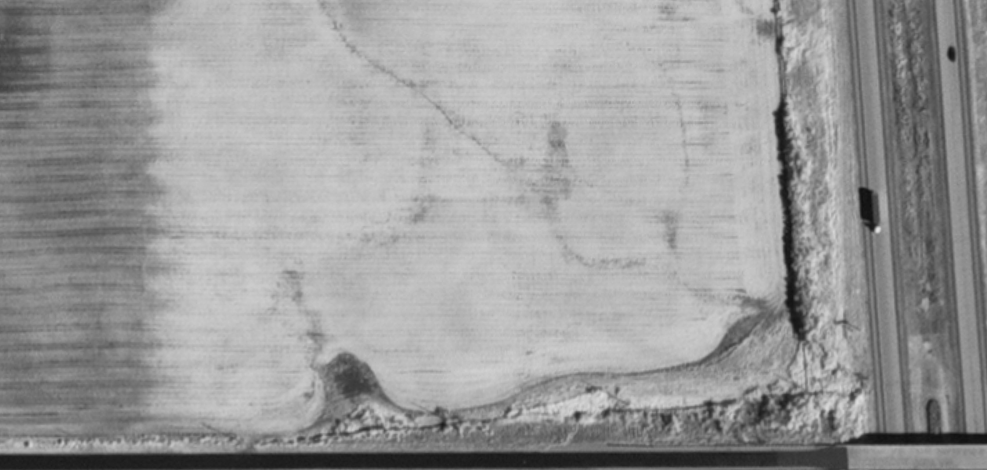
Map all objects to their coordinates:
road: (967, 234)
road: (882, 235)
road: (905, 461)
road: (411, 464)
road: (575, 466)

